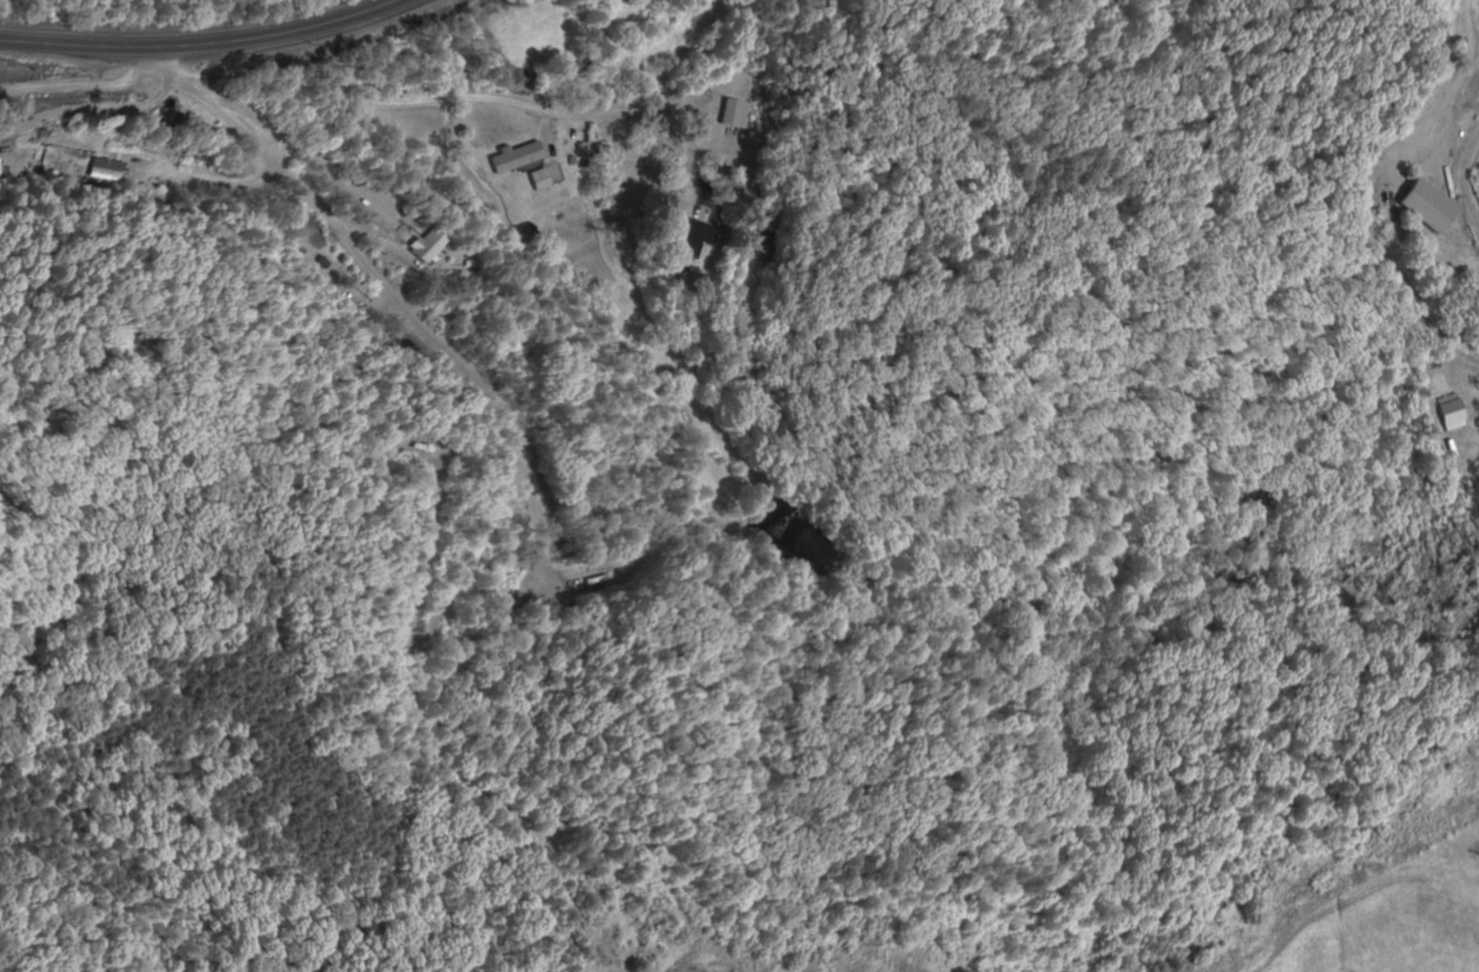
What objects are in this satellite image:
road: (198, 43)
road: (448, 98)
building: (739, 114)
building: (593, 141)
building: (520, 157)
building: (2, 168)
building: (543, 180)
road: (365, 221)
road: (120, 239)
road: (135, 257)
road: (480, 384)
building: (609, 576)

